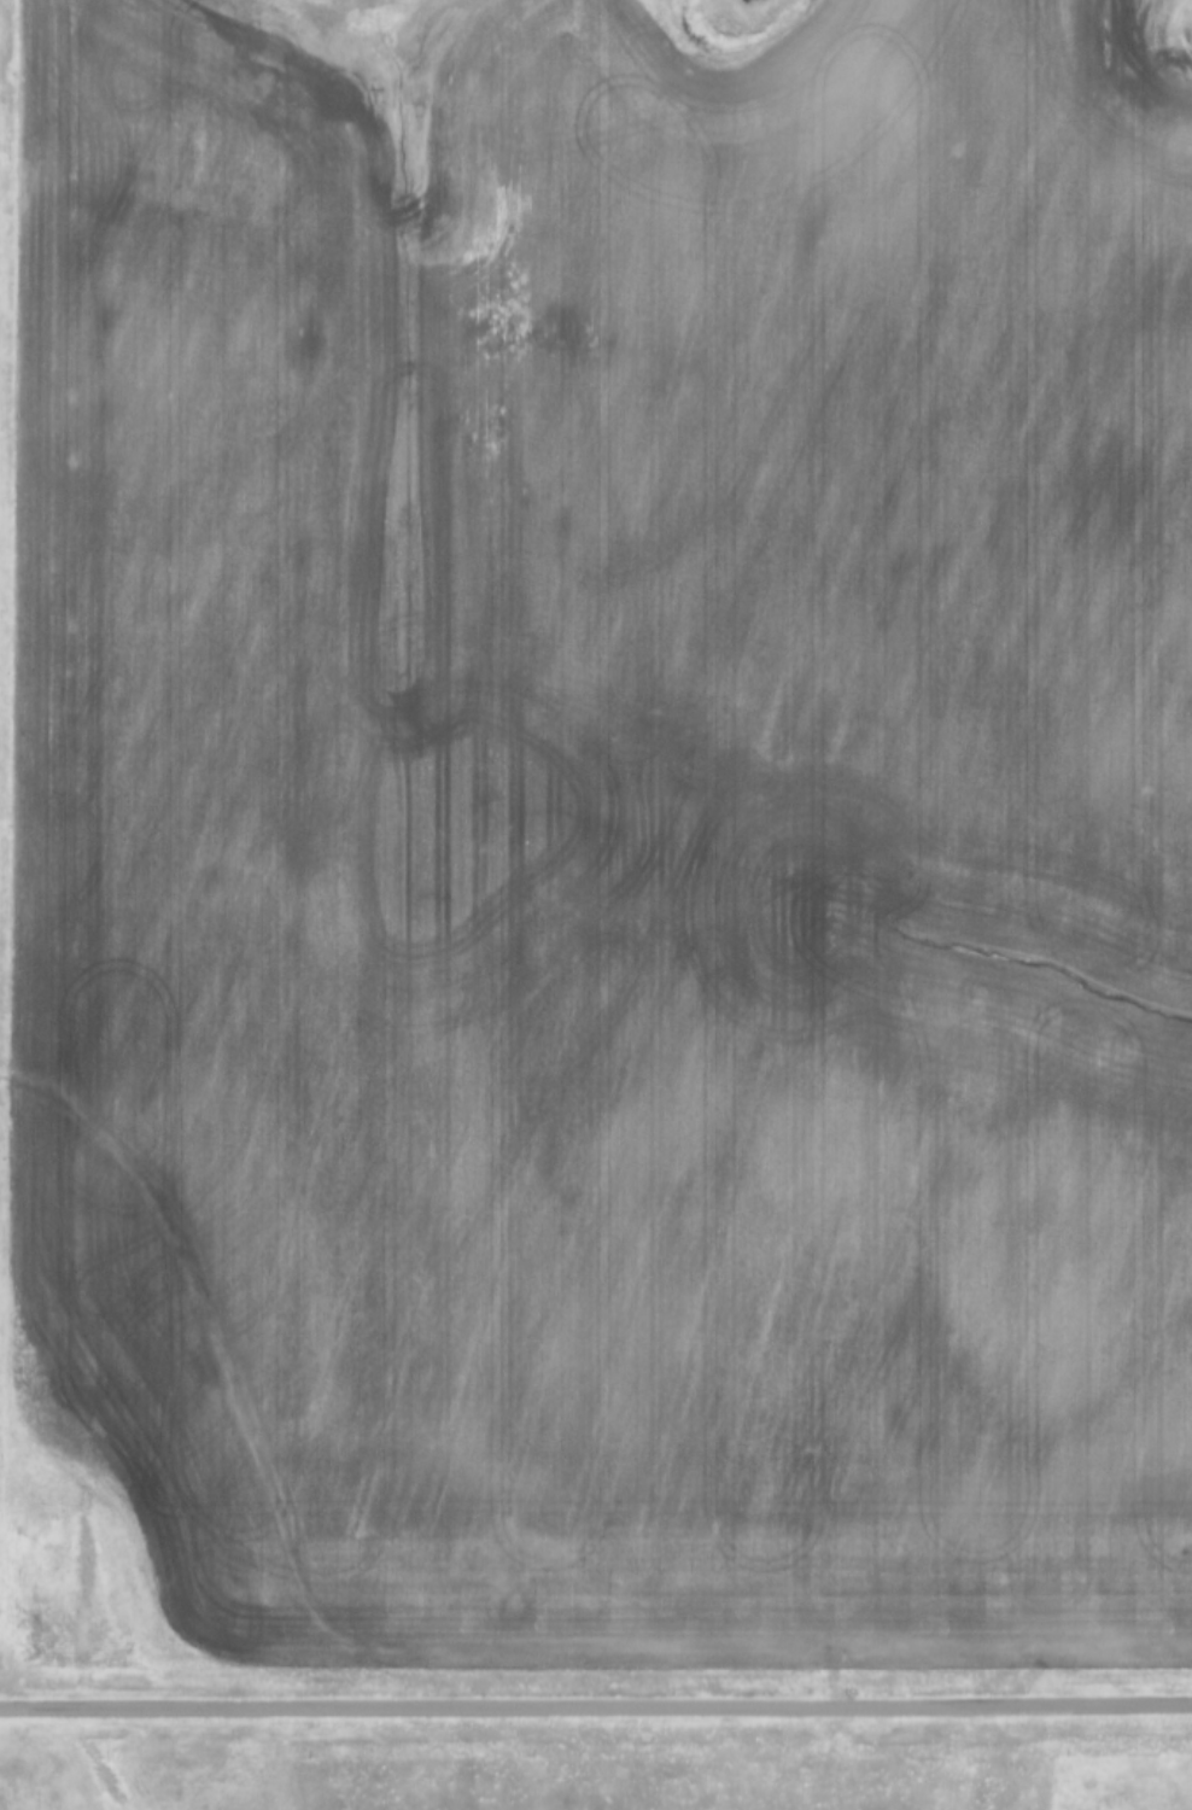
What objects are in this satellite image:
road: (595, 1711)

